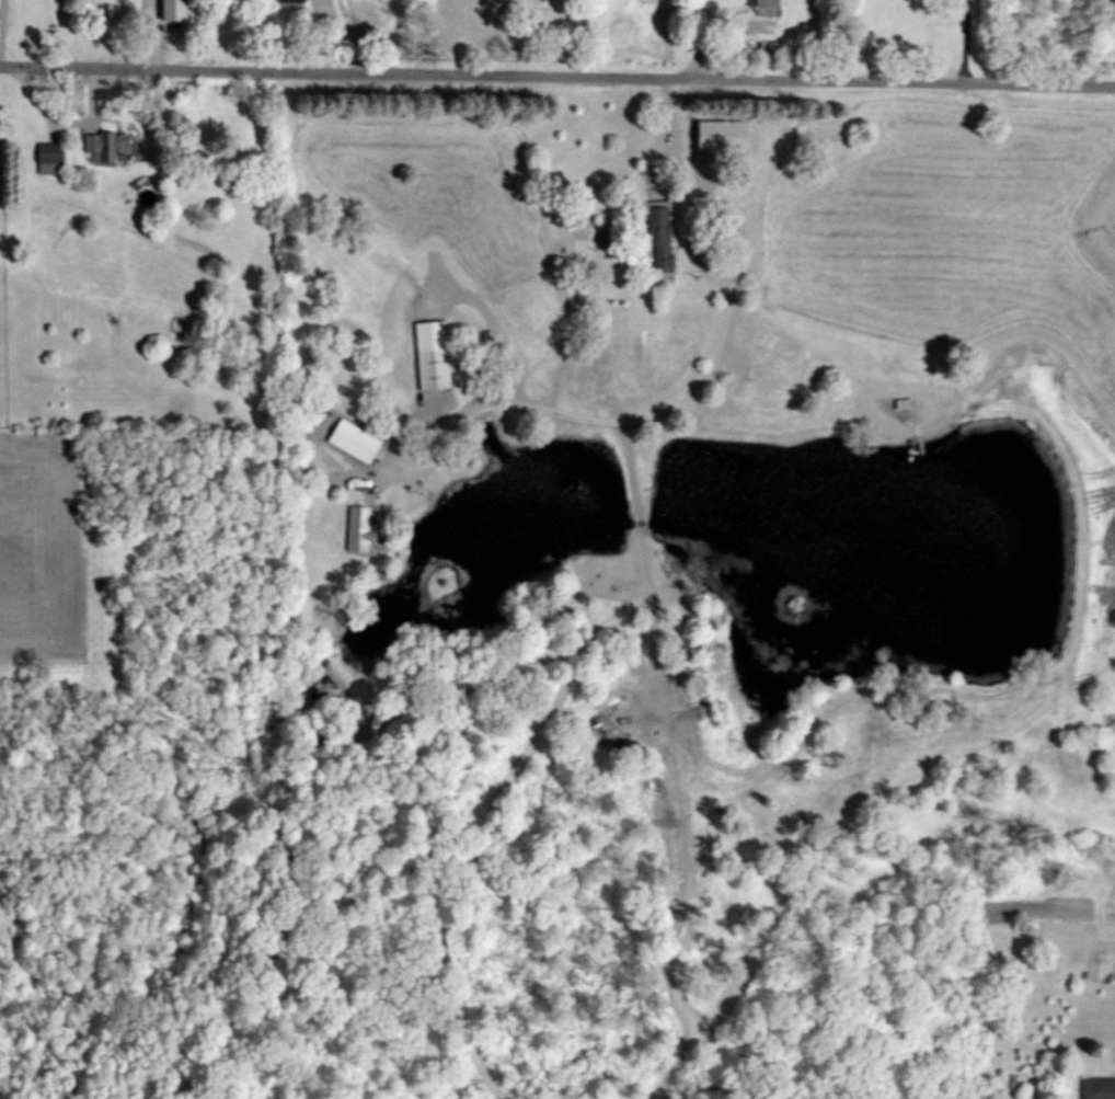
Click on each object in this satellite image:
building: (291, 1)
building: (767, 3)
road: (715, 24)
road: (966, 41)
building: (773, 50)
road: (557, 77)
building: (112, 147)
building: (49, 159)
building: (660, 239)
road: (701, 244)
building: (434, 369)
road: (629, 420)
building: (356, 443)
building: (359, 529)
building: (1099, 1088)

